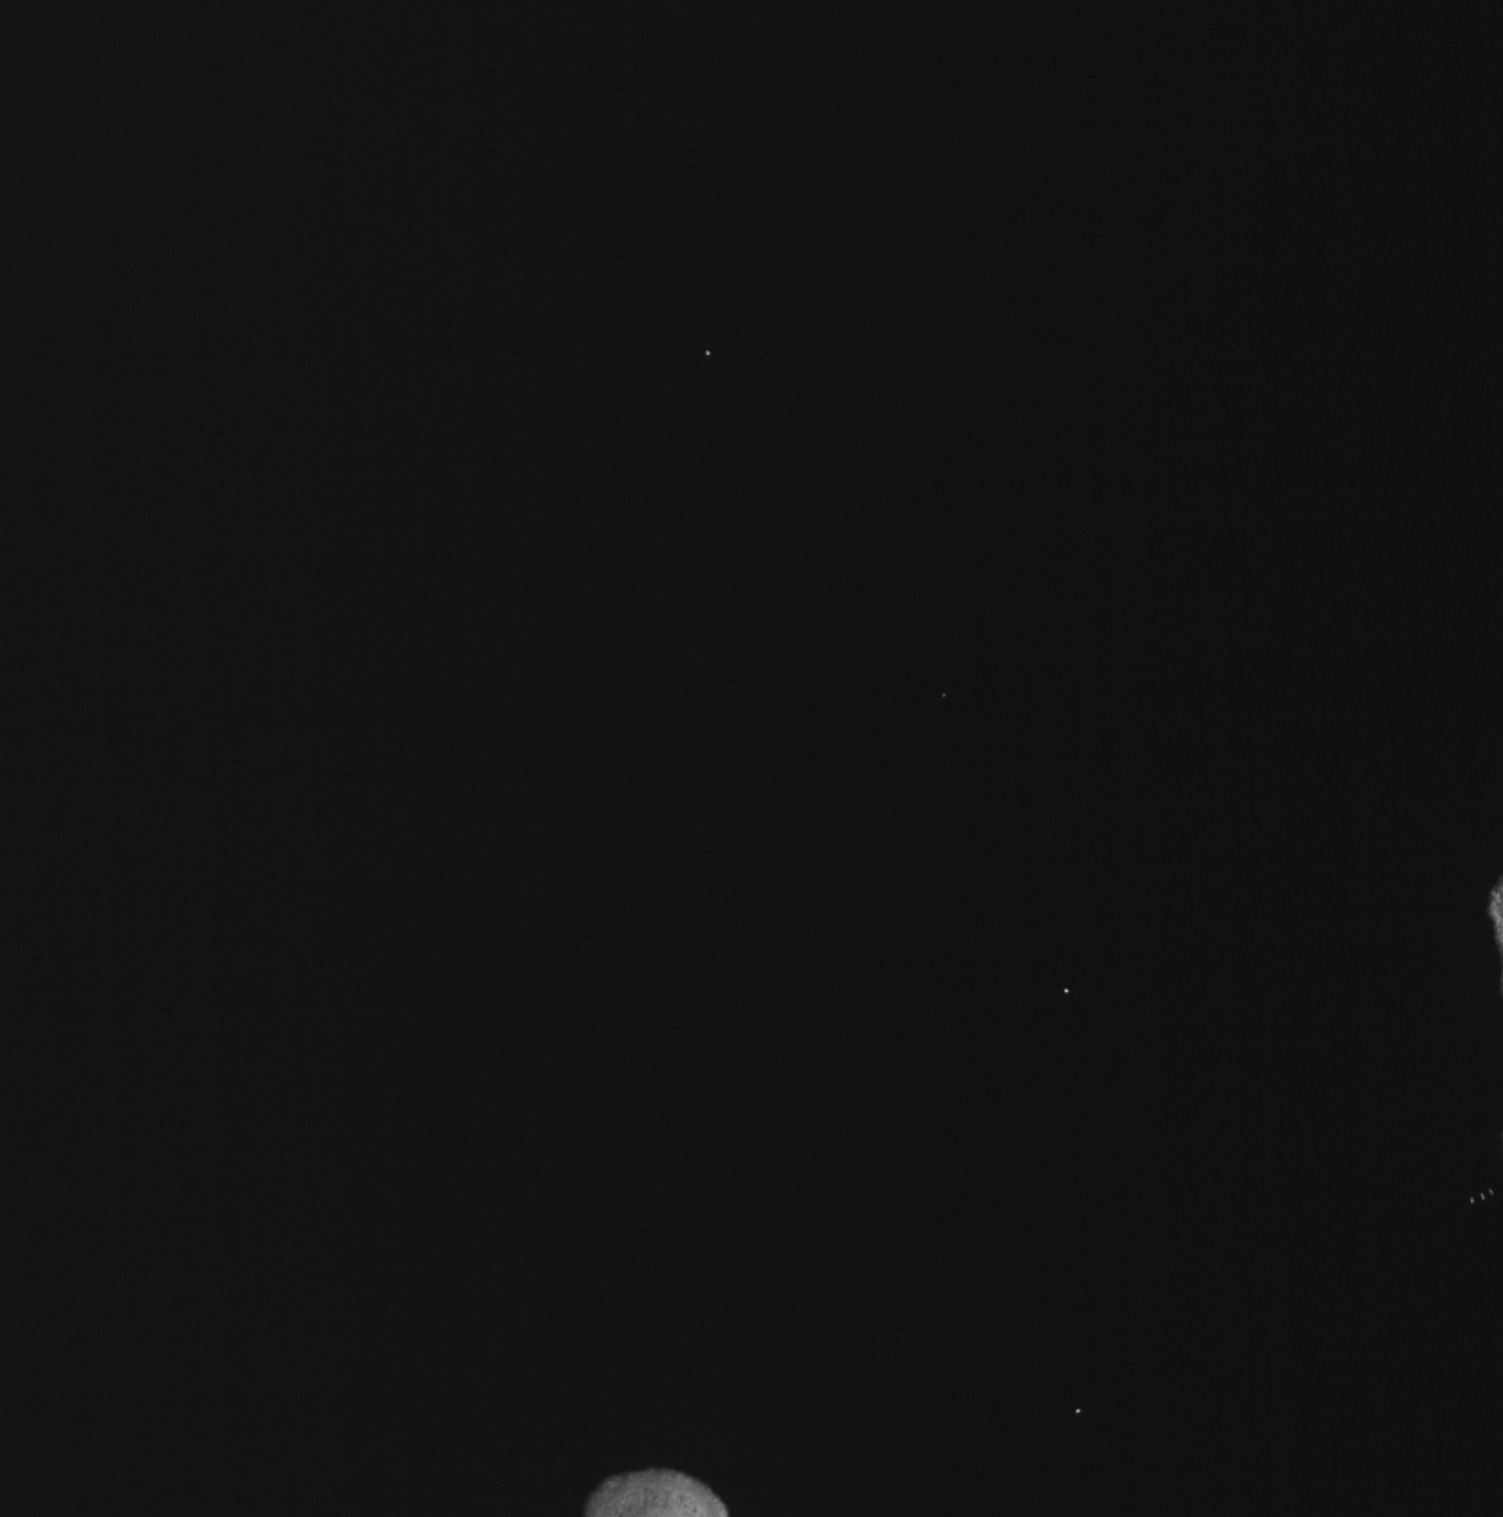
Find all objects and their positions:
park: (751, 758)
river: (730, 828)

